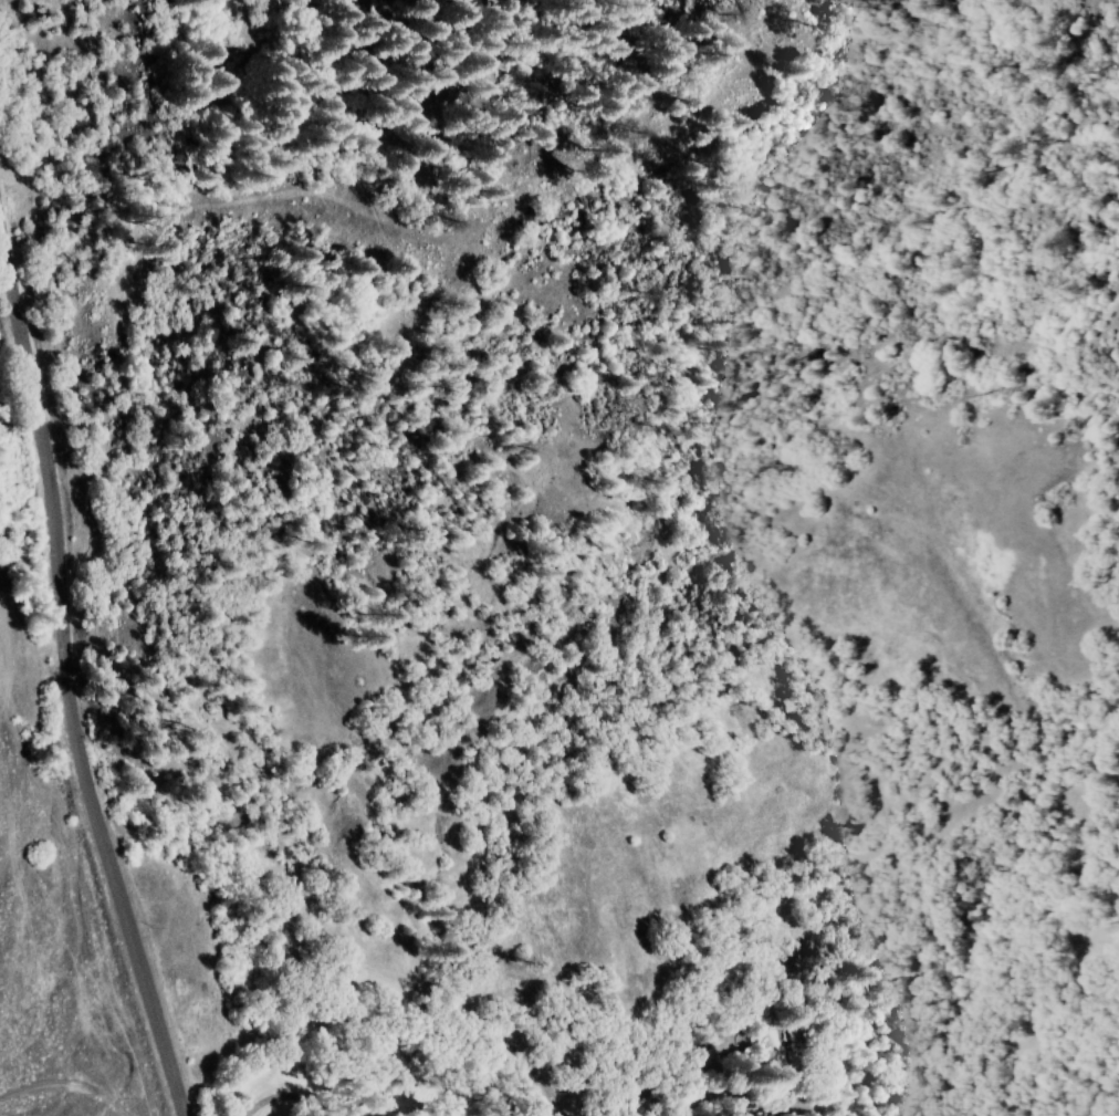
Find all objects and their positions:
road: (88, 702)
road: (380, 1077)
road: (54, 1095)

